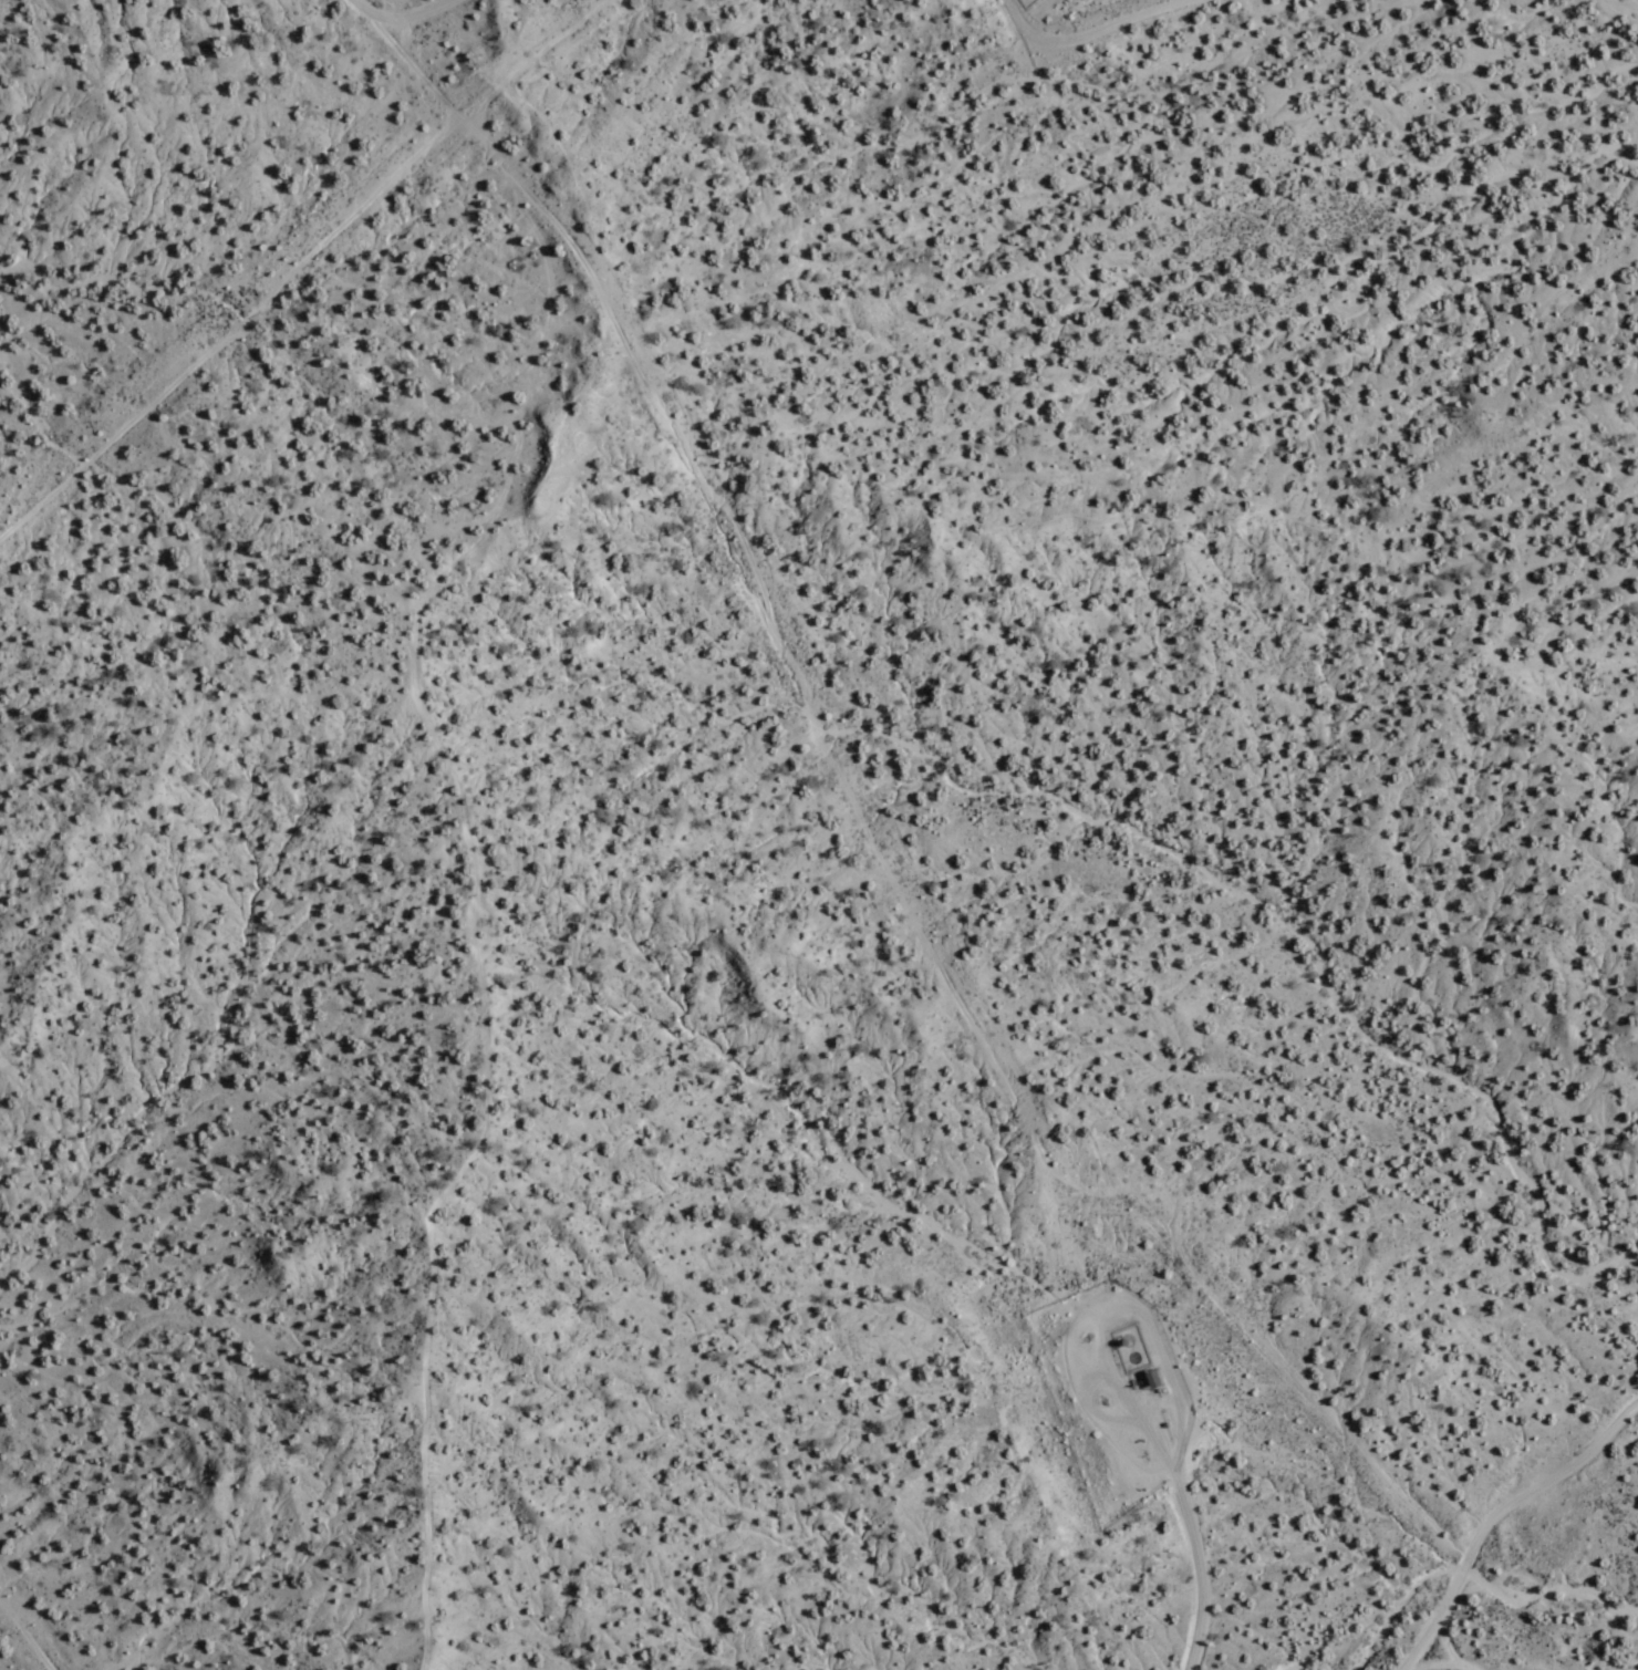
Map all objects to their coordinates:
road: (391, 14)
road: (1087, 35)
road: (292, 257)
road: (877, 839)
road: (464, 900)
road: (1173, 1491)
road: (1494, 1514)
road: (23, 1636)
road: (1442, 1641)
road: (1435, 1664)

